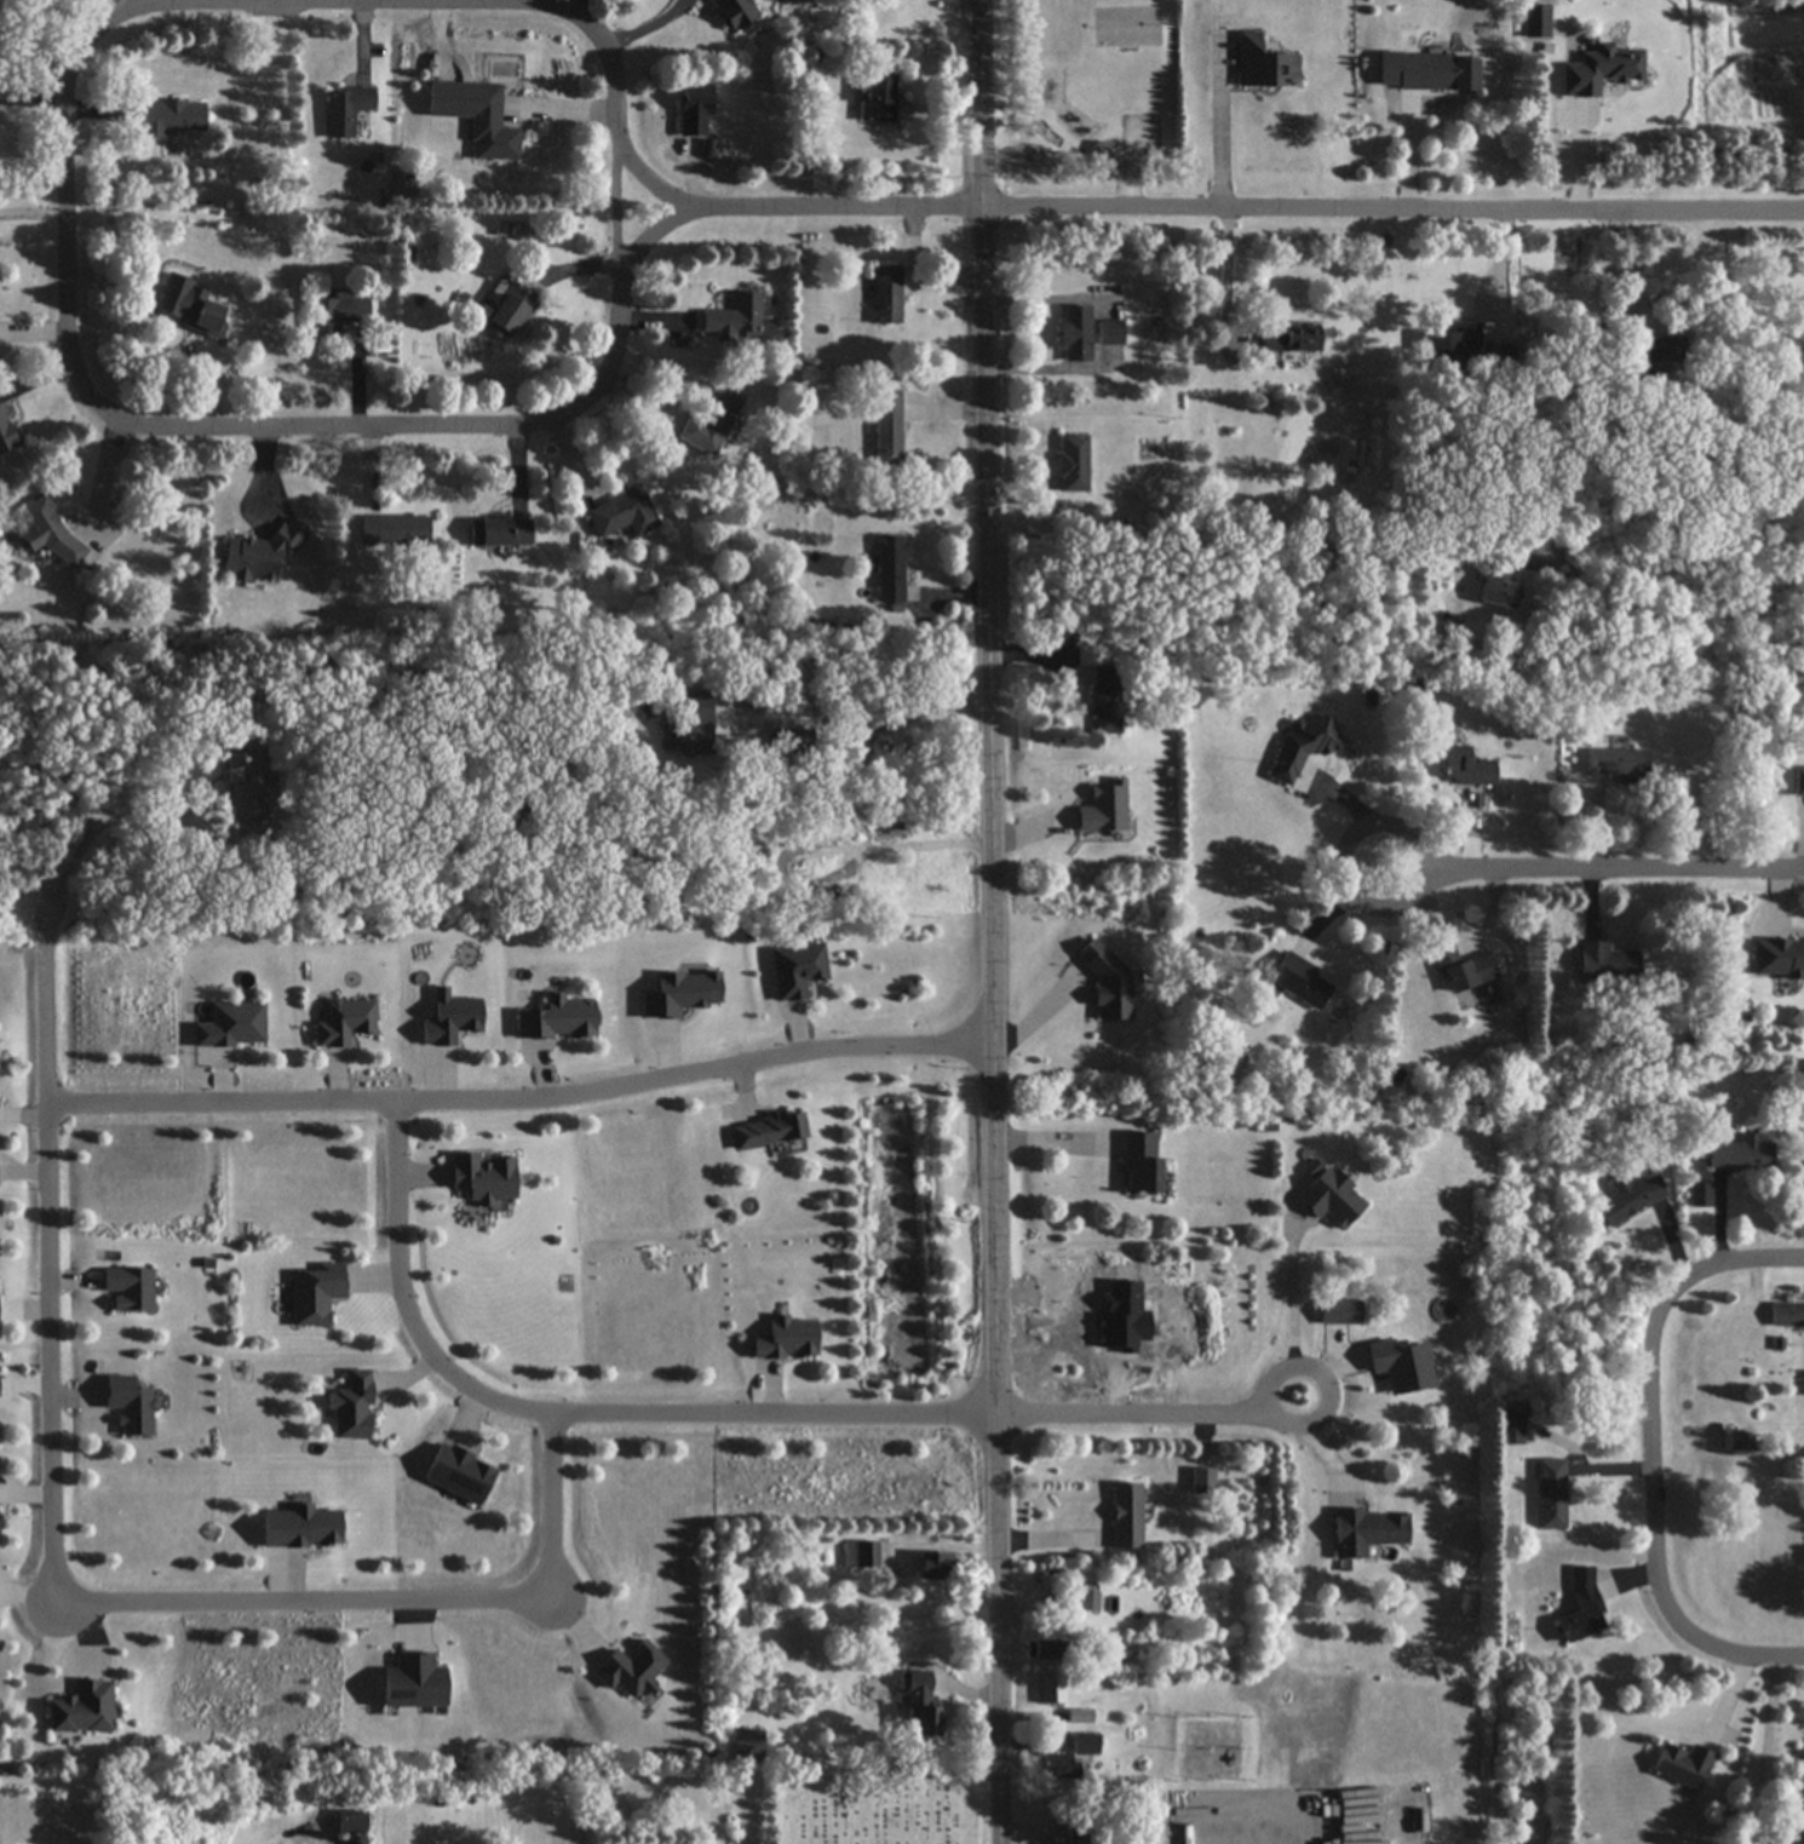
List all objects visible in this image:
building: (735, 12)
building: (1264, 64)
building: (1426, 70)
building: (877, 97)
building: (346, 109)
building: (695, 109)
building: (172, 117)
building: (489, 125)
road: (1222, 128)
road: (1392, 205)
road: (33, 209)
road: (1226, 278)
building: (885, 291)
building: (189, 306)
building: (509, 312)
building: (329, 315)
building: (734, 321)
building: (1109, 333)
building: (1074, 334)
building: (1289, 338)
building: (1453, 341)
building: (1651, 350)
road: (74, 381)
building: (712, 423)
building: (887, 427)
building: (5, 435)
building: (1072, 464)
building: (622, 513)
building: (48, 530)
building: (393, 532)
building: (499, 533)
building: (260, 556)
building: (890, 570)
building: (1500, 576)
road: (1681, 628)
building: (1104, 700)
building: (690, 722)
road: (862, 743)
building: (1303, 747)
building: (1616, 762)
building: (1465, 768)
building: (241, 783)
building: (1104, 809)
road: (99, 816)
building: (883, 874)
road: (1592, 879)
road: (989, 921)
building: (1779, 957)
building: (1605, 963)
building: (1463, 970)
building: (1299, 981)
building: (1108, 986)
building: (559, 1019)
building: (237, 1024)
road: (523, 1092)
building: (766, 1131)
building: (1741, 1155)
building: (1139, 1164)
building: (483, 1178)
building: (1331, 1199)
building: (1628, 1200)
road: (52, 1257)
building: (128, 1291)
road: (1292, 1294)
building: (316, 1296)
building: (1339, 1312)
building: (1786, 1316)
building: (786, 1340)
building: (128, 1406)
building: (352, 1408)
road: (570, 1413)
road: (1133, 1415)
road: (1315, 1424)
road: (1650, 1465)
building: (1202, 1482)
building: (1550, 1495)
building: (1126, 1517)
building: (1366, 1533)
building: (861, 1555)
building: (933, 1567)
road: (395, 1598)
building: (1065, 1603)
building: (1088, 1603)
building: (1581, 1605)
building: (1044, 1650)
building: (412, 1684)
building: (1051, 1690)
building: (921, 1705)
building: (1272, 1705)
building: (80, 1710)
building: (1079, 1717)
building: (1069, 1757)
building: (1683, 1767)
building: (1355, 1773)
park: (883, 1808)
building: (351, 1822)
building: (1076, 1833)
building: (1799, 1843)

